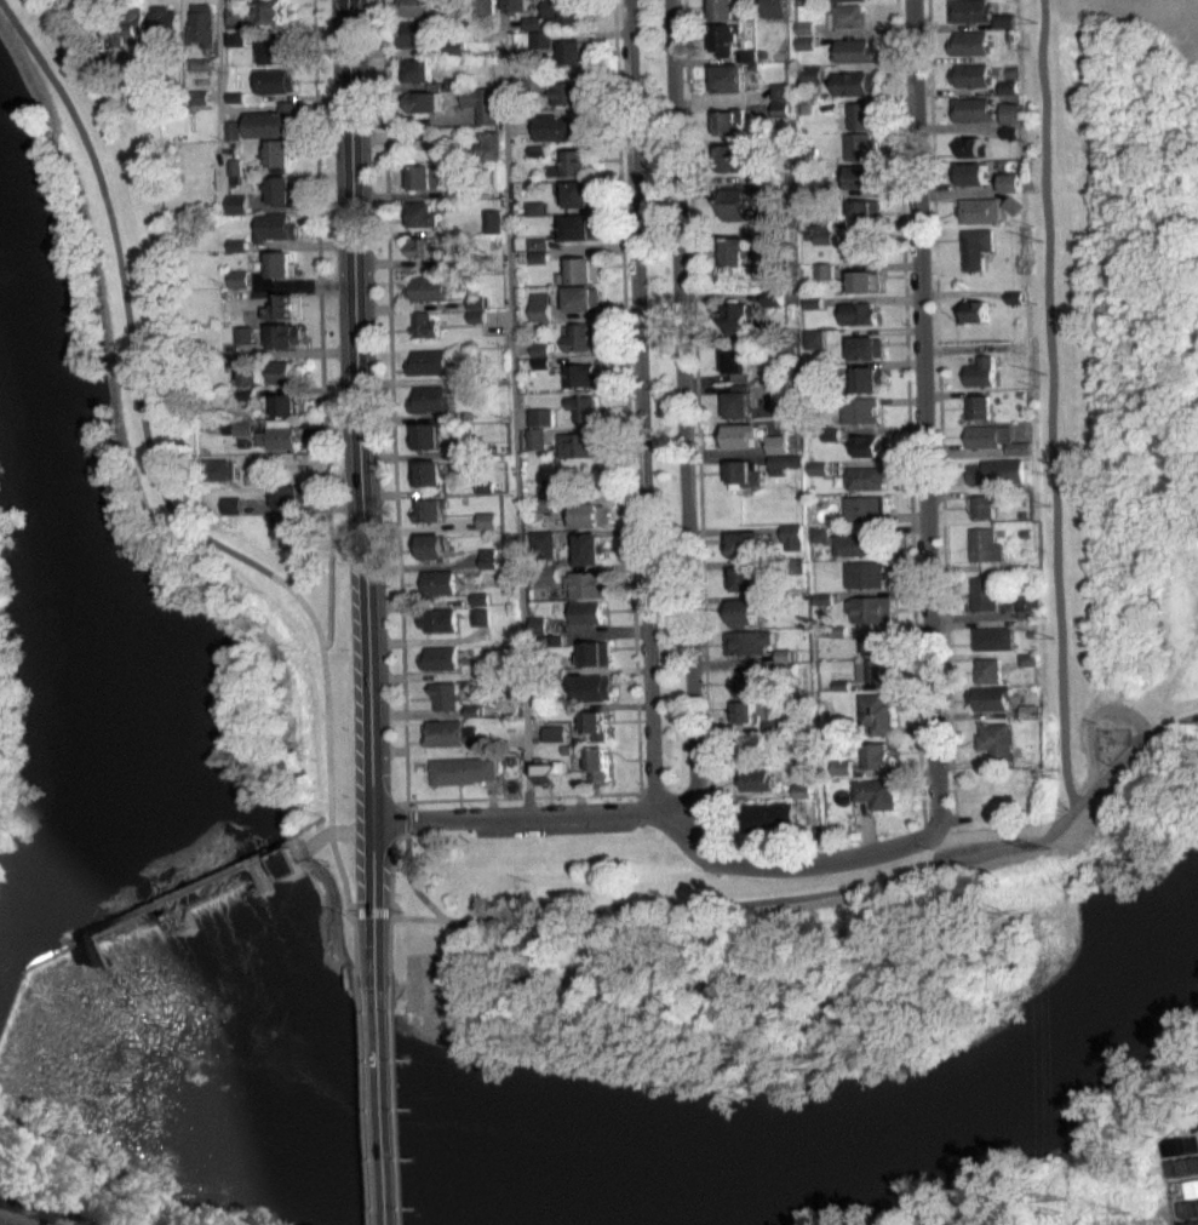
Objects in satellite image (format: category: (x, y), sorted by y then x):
building: (844, 0)
building: (803, 2)
building: (517, 5)
building: (486, 6)
building: (417, 7)
building: (773, 7)
building: (729, 8)
building: (970, 10)
building: (266, 11)
building: (564, 11)
building: (848, 16)
building: (230, 17)
building: (160, 21)
building: (1004, 21)
building: (124, 22)
building: (533, 22)
building: (197, 24)
building: (806, 27)
building: (533, 32)
building: (418, 33)
building: (1010, 34)
building: (233, 38)
building: (540, 38)
building: (726, 38)
building: (806, 42)
building: (970, 42)
building: (233, 47)
building: (453, 47)
building: (540, 48)
building: (275, 51)
building: (806, 51)
building: (854, 51)
building: (572, 53)
building: (747, 55)
building: (101, 61)
building: (196, 63)
building: (755, 64)
building: (414, 70)
road: (216, 74)
building: (814, 74)
building: (971, 74)
building: (730, 78)
building: (271, 80)
building: (535, 80)
building: (454, 81)
building: (855, 82)
building: (814, 84)
building: (1008, 86)
building: (533, 90)
building: (572, 90)
building: (781, 91)
building: (196, 96)
building: (233, 96)
building: (1009, 96)
building: (424, 101)
building: (483, 103)
building: (821, 104)
building: (781, 108)
building: (806, 108)
building: (973, 108)
building: (424, 110)
building: (1011, 113)
building: (861, 115)
building: (783, 118)
building: (270, 120)
building: (726, 124)
building: (562, 127)
building: (230, 130)
building: (1010, 132)
building: (488, 144)
building: (730, 145)
building: (860, 145)
building: (973, 147)
building: (538, 149)
building: (277, 153)
building: (809, 155)
building: (973, 155)
building: (579, 162)
building: (233, 166)
building: (730, 167)
building: (973, 173)
building: (425, 176)
building: (864, 176)
building: (557, 179)
building: (762, 179)
building: (1013, 182)
building: (762, 189)
building: (281, 190)
building: (457, 191)
building: (1013, 191)
building: (579, 193)
building: (236, 204)
building: (738, 204)
building: (1014, 205)
building: (537, 207)
building: (866, 207)
building: (979, 210)
building: (420, 213)
building: (537, 217)
building: (866, 218)
building: (493, 221)
building: (824, 224)
building: (276, 225)
building: (580, 225)
building: (824, 236)
building: (538, 242)
building: (239, 244)
building: (425, 246)
building: (862, 246)
building: (975, 246)
building: (736, 251)
building: (237, 253)
building: (425, 256)
building: (539, 256)
building: (280, 264)
building: (581, 270)
building: (825, 270)
building: (240, 277)
building: (824, 280)
building: (865, 280)
building: (240, 287)
building: (426, 288)
building: (866, 291)
building: (773, 296)
building: (583, 297)
building: (1015, 297)
building: (476, 302)
building: (814, 302)
building: (282, 305)
building: (541, 305)
building: (774, 307)
building: (976, 311)
building: (858, 313)
building: (476, 315)
building: (739, 319)
road: (319, 325)
building: (424, 325)
building: (243, 334)
building: (283, 334)
building: (580, 336)
building: (814, 338)
building: (243, 344)
building: (814, 348)
building: (867, 348)
building: (1018, 348)
building: (540, 349)
building: (430, 361)
building: (541, 361)
building: (738, 362)
building: (816, 367)
building: (981, 371)
building: (281, 372)
building: (581, 374)
building: (245, 376)
building: (867, 378)
building: (245, 394)
building: (432, 399)
building: (745, 402)
building: (283, 403)
road: (390, 403)
road: (1054, 403)
road: (638, 405)
building: (584, 407)
building: (979, 407)
road: (514, 408)
building: (860, 411)
road: (925, 412)
building: (540, 416)
road: (907, 417)
road: (940, 420)
road: (686, 423)
building: (540, 425)
building: (237, 428)
road: (698, 428)
building: (277, 433)
building: (831, 434)
building: (988, 435)
building: (426, 436)
building: (740, 436)
building: (241, 437)
building: (535, 437)
road: (153, 441)
building: (778, 443)
building: (579, 445)
building: (869, 445)
building: (1019, 448)
building: (778, 453)
building: (871, 454)
building: (784, 463)
building: (219, 468)
building: (818, 468)
building: (997, 471)
building: (429, 473)
building: (744, 473)
building: (785, 473)
building: (818, 477)
building: (866, 477)
building: (483, 486)
building: (288, 494)
road: (361, 494)
building: (546, 503)
building: (984, 504)
building: (866, 508)
building: (430, 509)
building: (228, 513)
building: (587, 514)
road: (630, 515)
building: (486, 519)
building: (429, 520)
building: (290, 528)
building: (486, 528)
building: (821, 534)
building: (793, 536)
building: (743, 542)
building: (543, 543)
building: (820, 544)
building: (860, 544)
building: (429, 545)
building: (587, 548)
building: (986, 548)
building: (747, 553)
building: (798, 566)
building: (487, 567)
building: (545, 574)
building: (866, 574)
building: (743, 578)
building: (438, 580)
building: (590, 584)
building: (984, 594)
building: (822, 597)
building: (1028, 603)
building: (478, 607)
building: (872, 608)
building: (586, 612)
building: (744, 612)
building: (478, 617)
building: (1028, 618)
building: (436, 619)
building: (538, 624)
building: (478, 625)
building: (838, 630)
building: (537, 634)
building: (1031, 634)
building: (994, 637)
building: (552, 640)
building: (749, 641)
building: (876, 641)
building: (594, 652)
building: (876, 652)
building: (785, 654)
building: (438, 657)
building: (1030, 658)
building: (789, 668)
building: (873, 670)
building: (990, 670)
building: (753, 681)
building: (841, 685)
building: (590, 686)
building: (443, 694)
building: (991, 698)
building: (472, 710)
building: (1030, 710)
building: (746, 711)
building: (876, 712)
building: (745, 721)
building: (595, 723)
building: (774, 725)
building: (445, 732)
building: (554, 733)
building: (997, 742)
building: (477, 743)
building: (554, 743)
building: (755, 745)
building: (567, 749)
building: (876, 756)
building: (797, 757)
building: (597, 760)
building: (841, 767)
building: (460, 769)
building: (549, 771)
building: (756, 780)
building: (801, 790)
building: (875, 792)
building: (992, 795)
building: (801, 800)
building: (762, 815)
road: (403, 818)
road: (666, 818)
road: (339, 828)
road: (405, 831)
road: (986, 836)
road: (342, 878)
road: (755, 903)
building: (164, 912)
dam: (164, 912)
road: (372, 914)
road: (418, 917)
road: (356, 951)
road: (390, 951)
dam: (25, 996)
road: (363, 1107)
road: (382, 1107)
road: (395, 1107)
river: (313, 1124)
wastewater plant: (1141, 1151)

